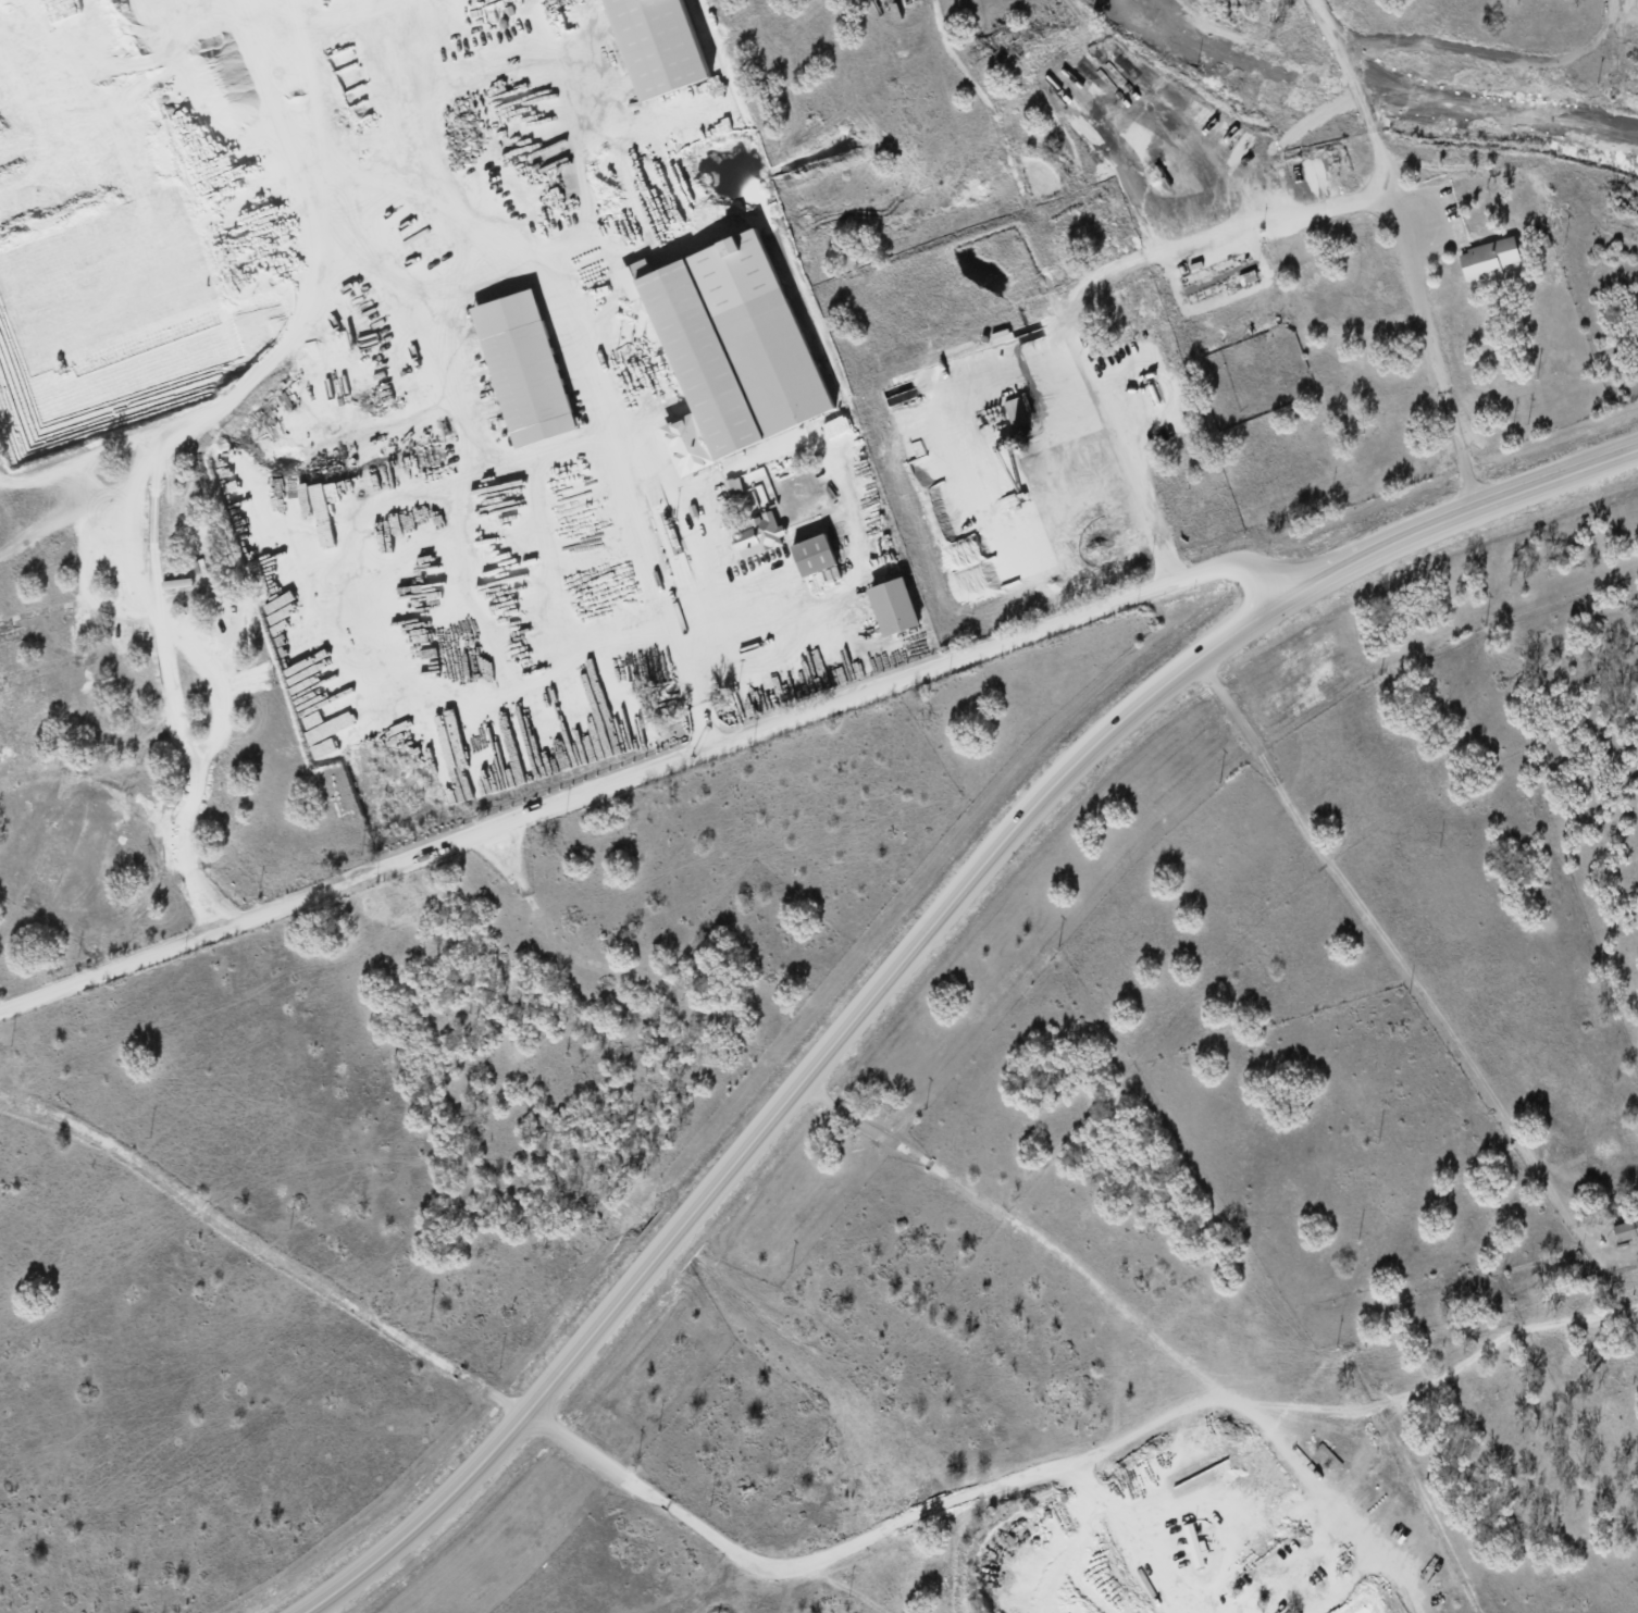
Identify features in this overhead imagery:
building: (663, 45)
road: (1362, 95)
road: (1174, 248)
building: (1488, 258)
building: (737, 343)
quarry: (492, 359)
building: (526, 368)
building: (1015, 410)
road: (1461, 449)
road: (1456, 516)
building: (760, 535)
building: (817, 555)
building: (896, 606)
road: (685, 643)
road: (644, 773)
road: (1393, 952)
road: (785, 1097)
building: (1626, 1228)
quarry: (1154, 1540)

